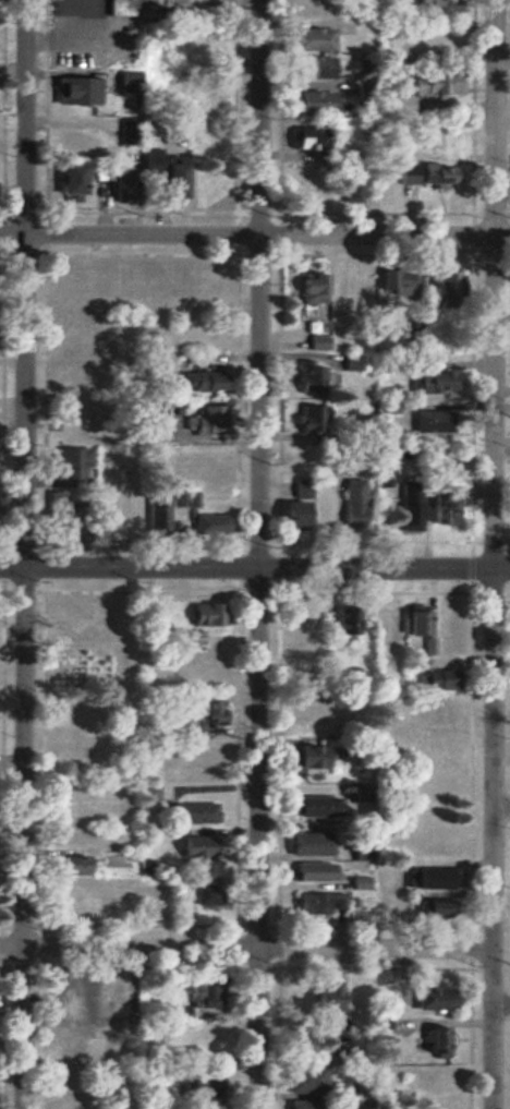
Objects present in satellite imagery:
building: (430, 5)
building: (133, 8)
building: (307, 9)
building: (309, 38)
building: (313, 68)
building: (430, 83)
building: (72, 88)
building: (203, 96)
building: (311, 101)
building: (76, 137)
building: (308, 138)
building: (425, 173)
building: (159, 174)
building: (65, 180)
building: (349, 183)
building: (301, 184)
building: (199, 189)
road: (255, 234)
building: (71, 275)
building: (151, 278)
building: (120, 280)
building: (394, 281)
building: (343, 284)
building: (447, 284)
building: (308, 288)
building: (70, 301)
building: (81, 336)
building: (196, 340)
building: (307, 377)
building: (202, 379)
building: (430, 381)
building: (75, 409)
building: (311, 417)
building: (204, 421)
building: (73, 435)
building: (297, 455)
building: (202, 459)
building: (66, 462)
building: (439, 463)
building: (382, 478)
building: (299, 487)
building: (350, 502)
building: (444, 507)
building: (56, 508)
building: (286, 511)
building: (317, 513)
building: (405, 513)
building: (117, 514)
building: (159, 514)
building: (208, 522)
road: (24, 554)
road: (258, 554)
road: (493, 554)
road: (255, 567)
building: (162, 613)
building: (202, 614)
building: (294, 619)
building: (343, 619)
building: (69, 620)
building: (411, 620)
building: (441, 622)
building: (386, 626)
building: (314, 650)
building: (202, 673)
building: (68, 676)
building: (148, 676)
building: (437, 679)
building: (199, 711)
building: (70, 715)
building: (429, 715)
building: (305, 716)
building: (435, 751)
building: (70, 755)
building: (302, 756)
building: (433, 780)
building: (74, 793)
building: (311, 806)
building: (191, 812)
building: (81, 817)
building: (66, 839)
building: (125, 842)
building: (305, 843)
building: (187, 847)
building: (70, 865)
building: (311, 871)
building: (428, 878)
building: (96, 888)
building: (196, 900)
building: (159, 901)
building: (318, 902)
building: (377, 904)
building: (430, 907)
road: (245, 947)
building: (111, 990)
building: (199, 991)
building: (356, 993)
building: (317, 997)
building: (429, 998)
building: (66, 1001)
road: (500, 1003)
building: (315, 1040)
building: (435, 1041)
building: (66, 1044)
building: (205, 1049)
building: (305, 1078)
building: (435, 1081)
building: (62, 1083)
building: (201, 1090)
building: (69, 1105)
building: (302, 1105)
building: (436, 1105)

